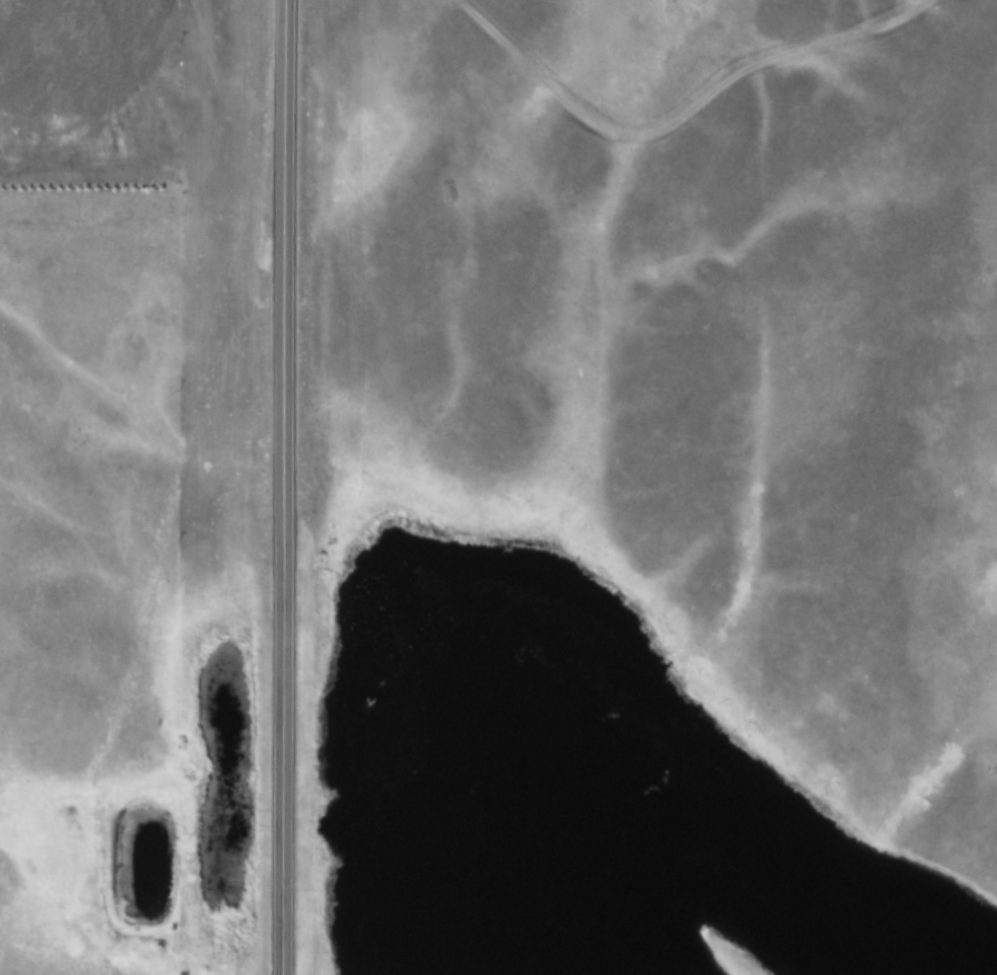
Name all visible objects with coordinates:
quarry: (93, 92)
road: (681, 119)
road: (287, 289)
road: (287, 758)
road: (286, 956)

